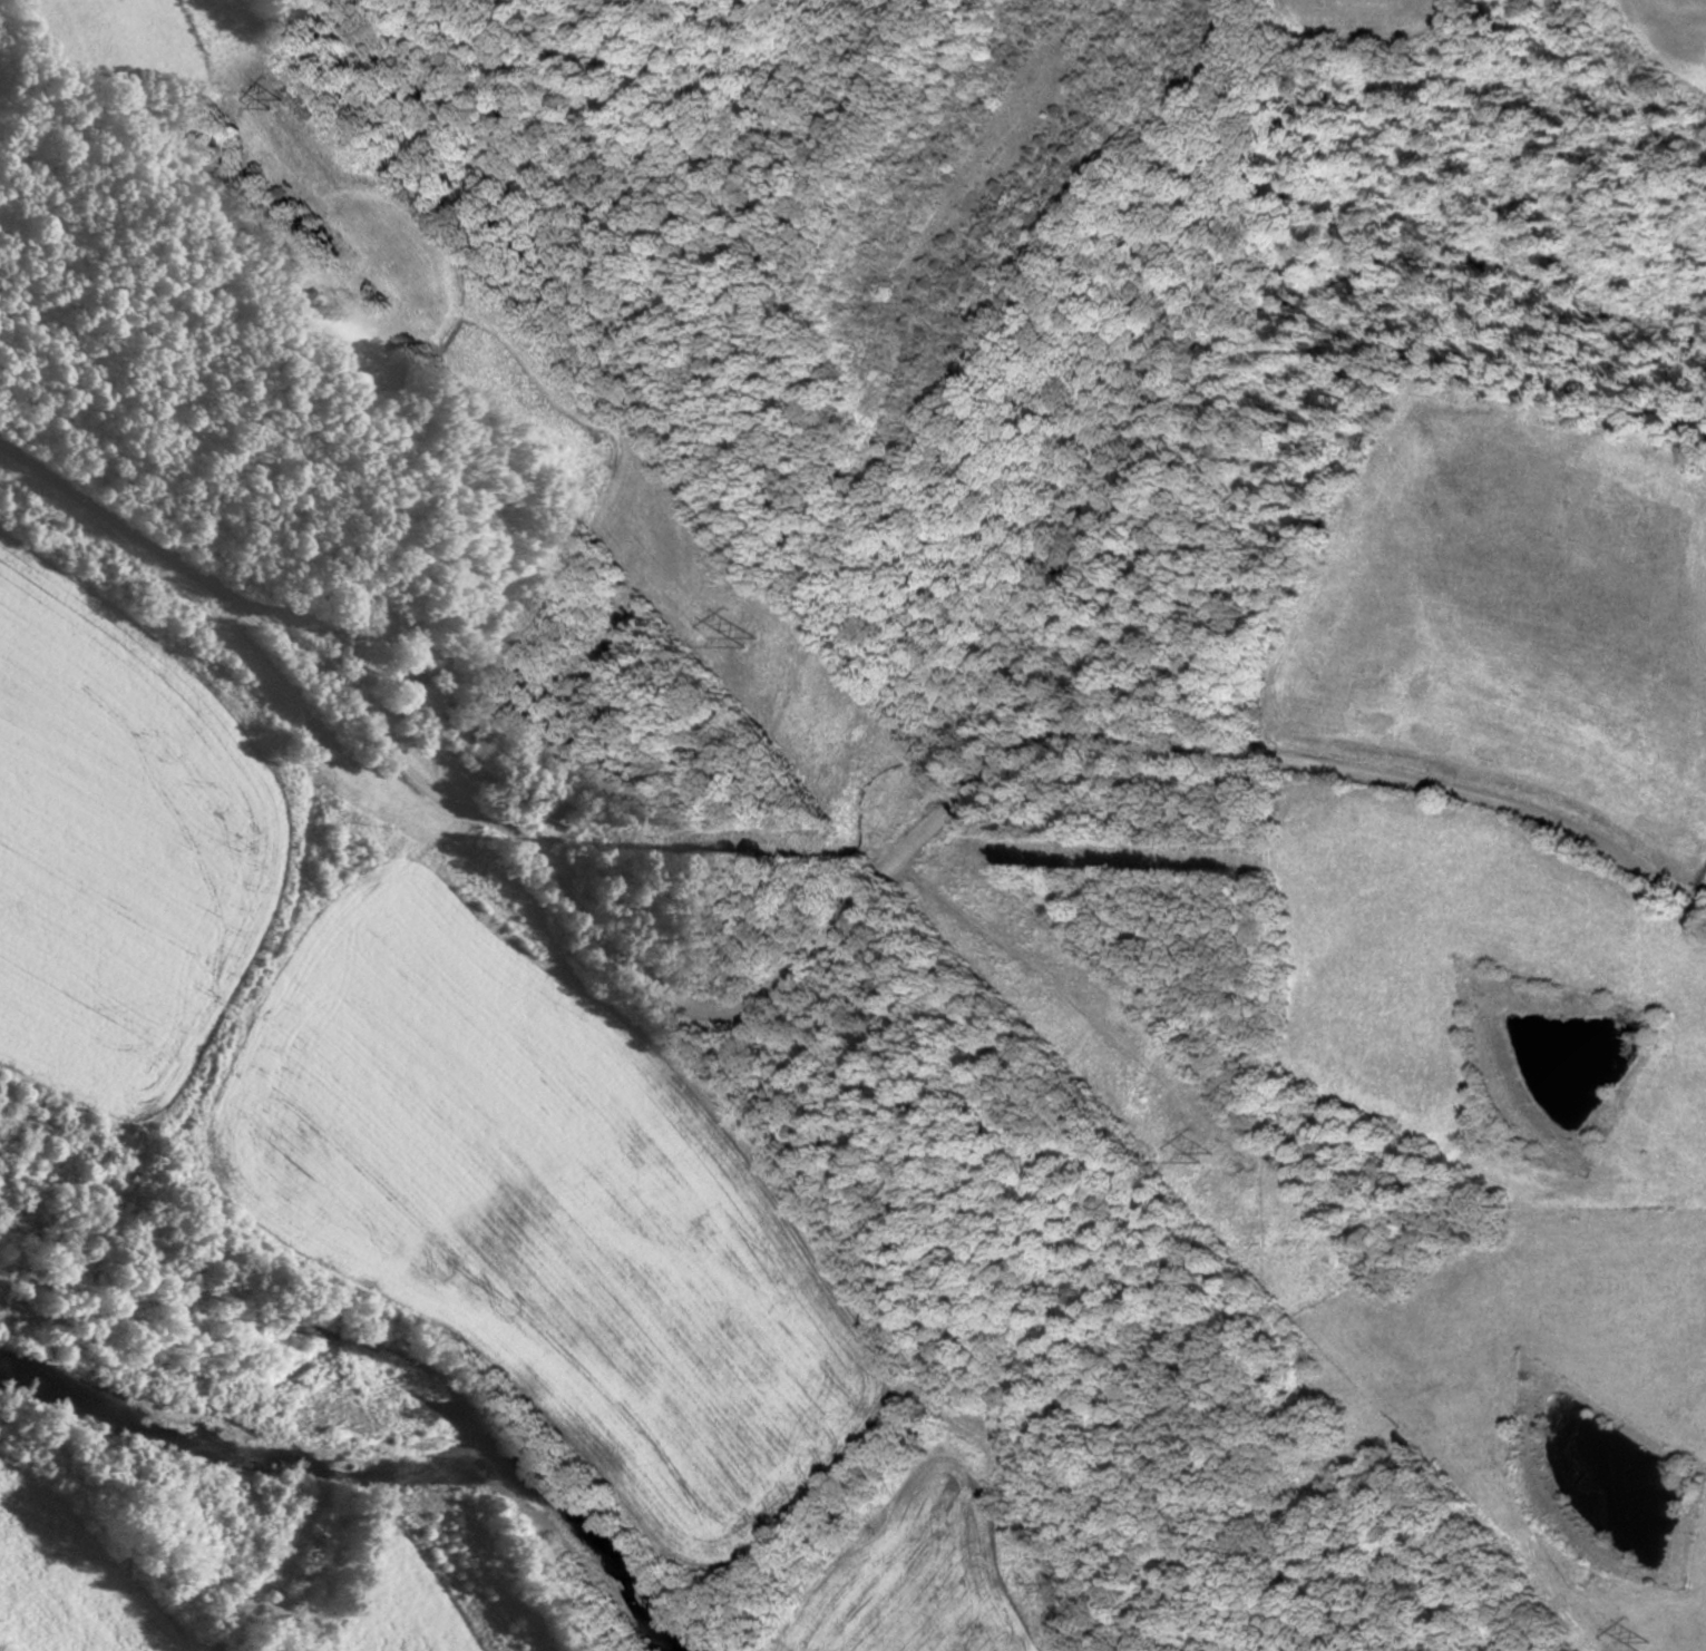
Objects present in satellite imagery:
power tower: (269, 97)
power tower: (747, 634)
building: (402, 667)
building: (555, 809)
building: (341, 867)
road: (803, 963)
power tower: (1207, 1155)
power tower: (1638, 1637)

